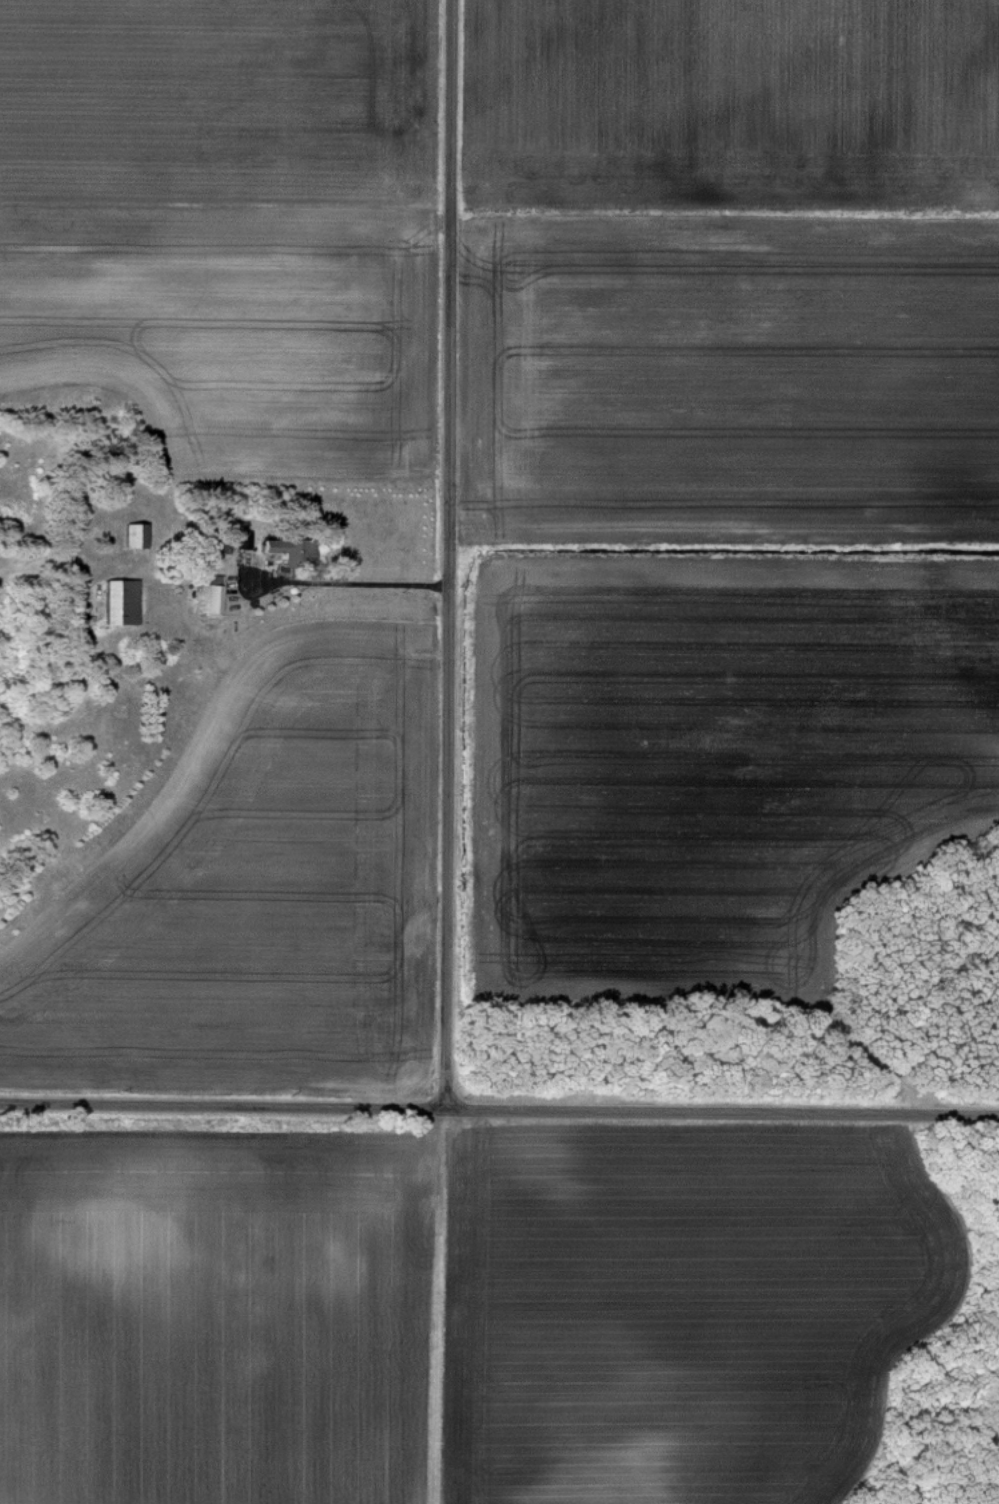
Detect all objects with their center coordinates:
building: (137, 537)
building: (279, 550)
road: (447, 550)
building: (210, 596)
building: (123, 602)
road: (499, 1102)

